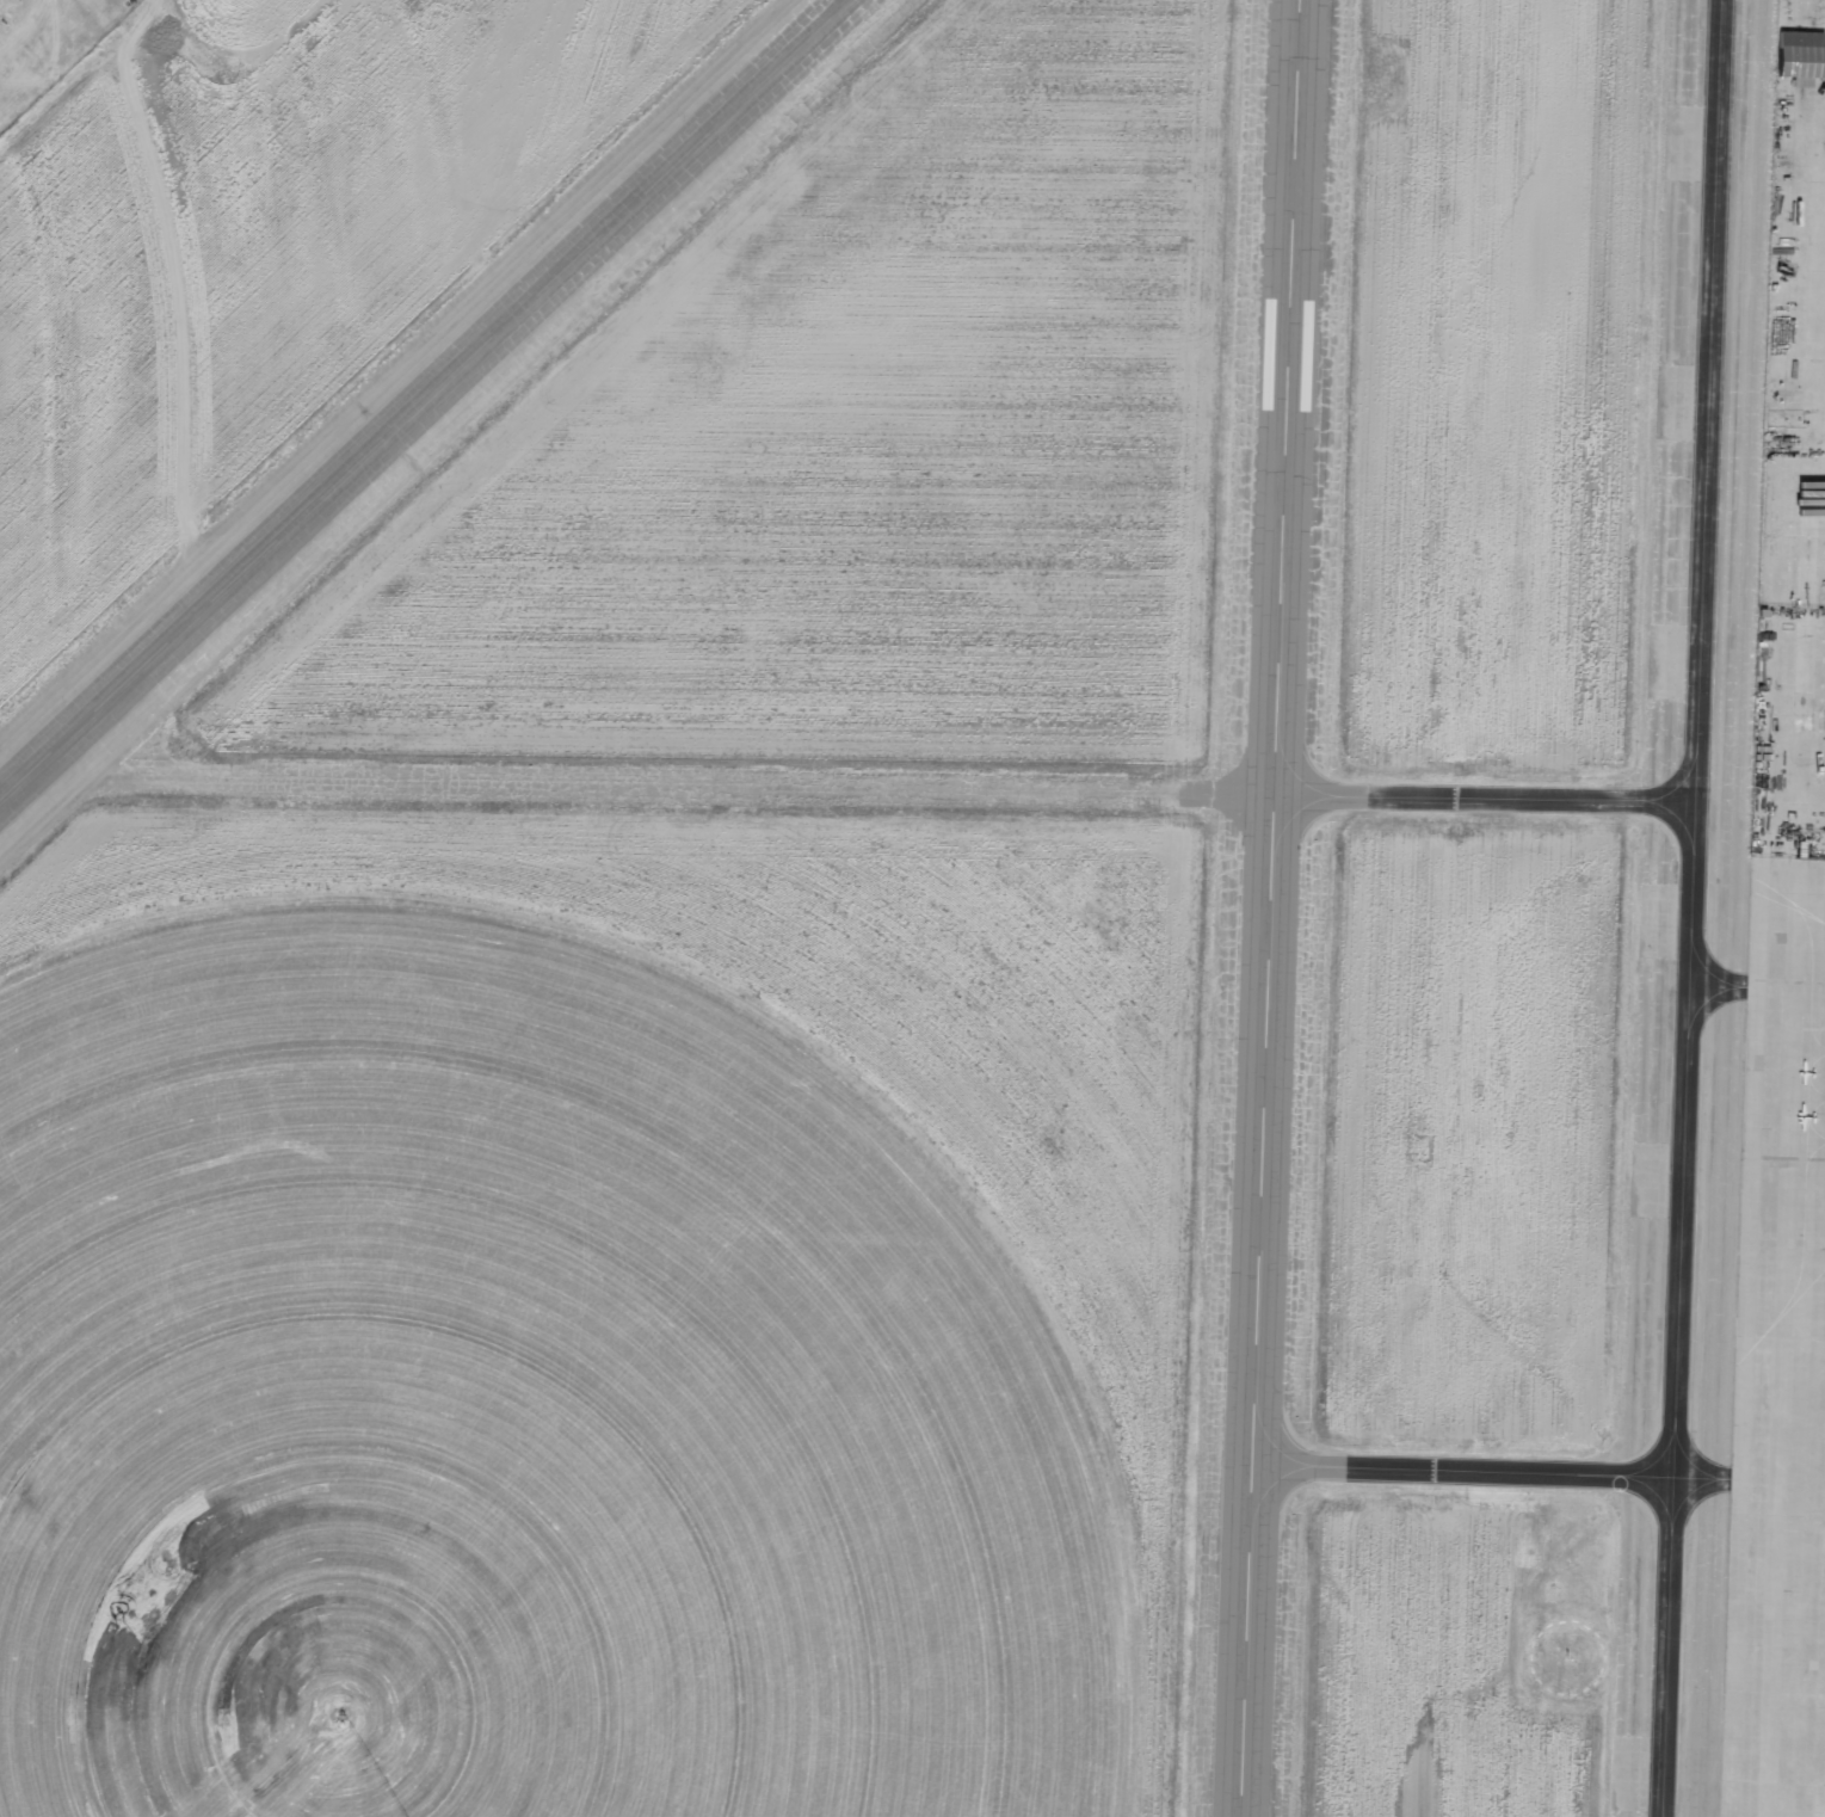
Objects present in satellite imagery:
building: (1802, 56)
airport runway: (419, 396)
airport taxiway: (855, 786)
airport: (912, 908)
airport runway: (1266, 908)
airport taxiway: (1681, 908)
airport apron: (1751, 966)
building: (1682, 1257)
crop: (522, 1402)
airport taxiway: (1456, 1471)

